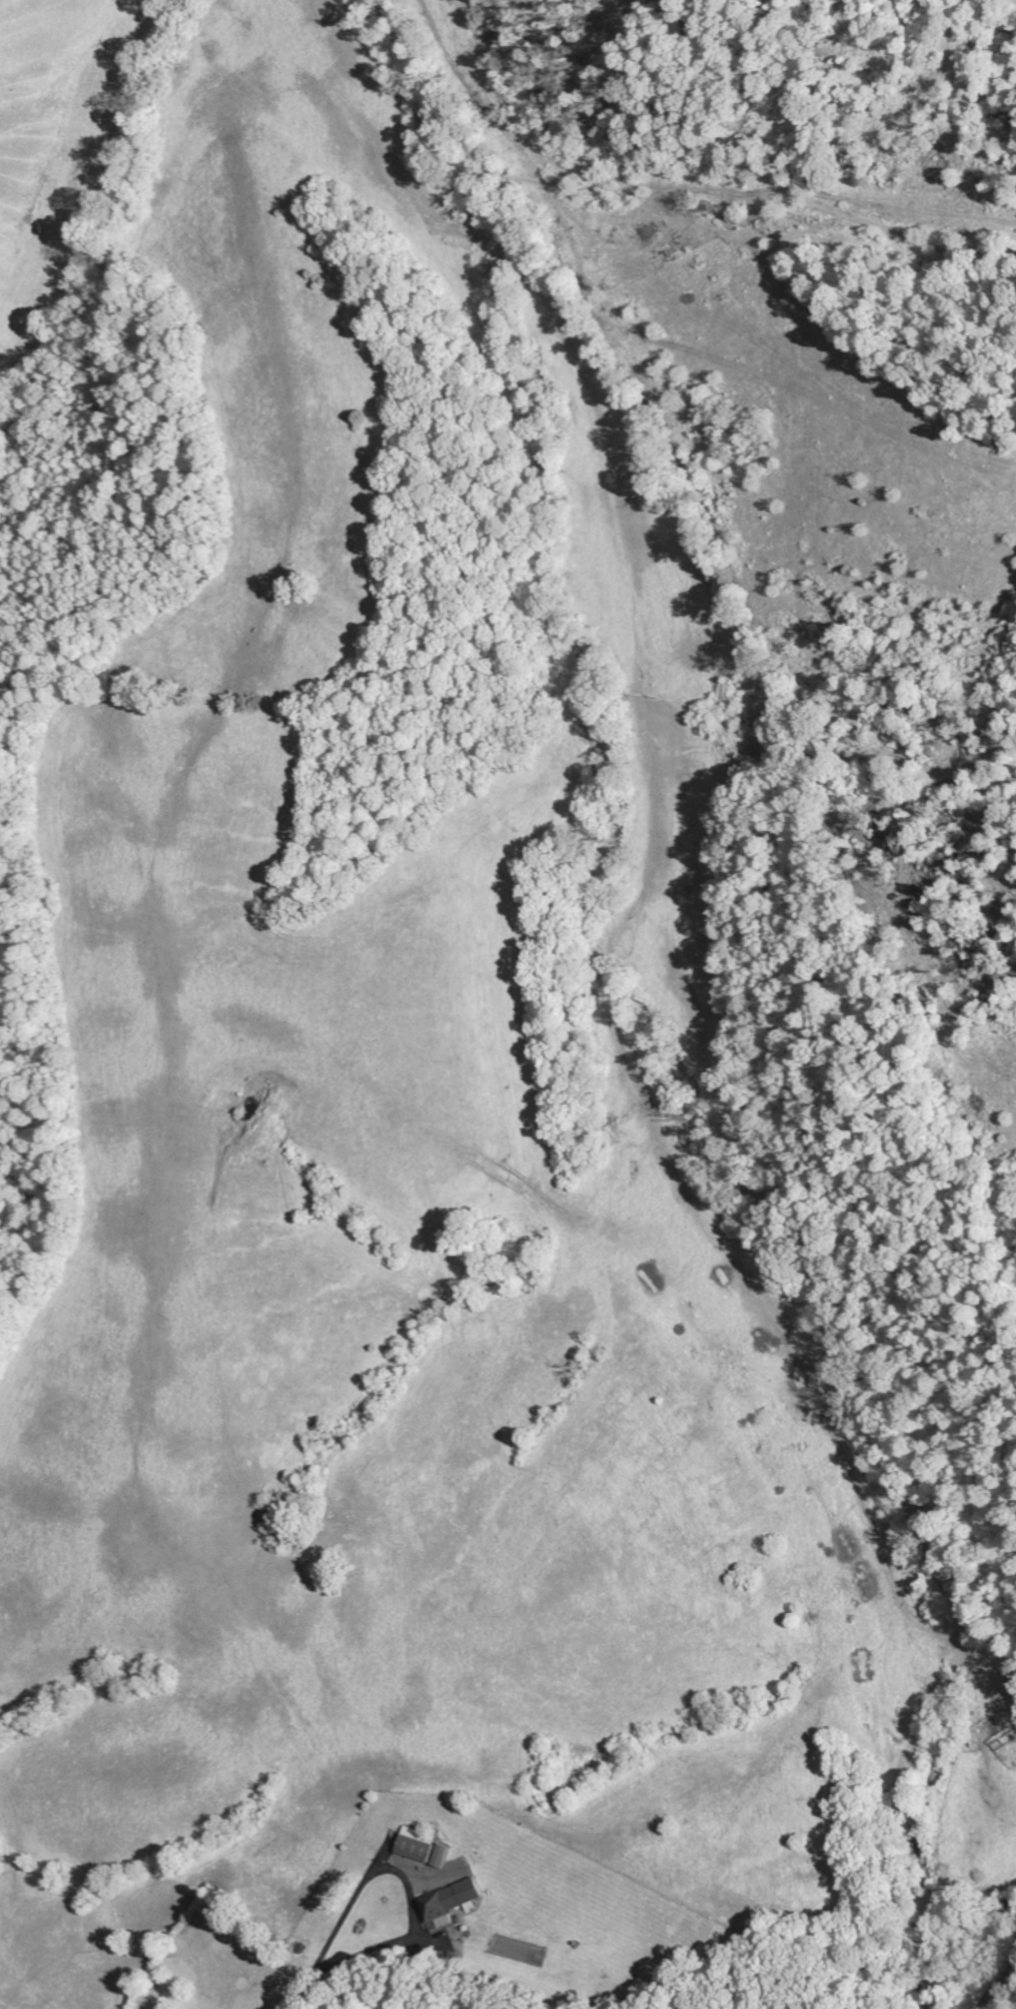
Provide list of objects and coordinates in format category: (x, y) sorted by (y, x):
building: (441, 1856)
building: (448, 1903)
road: (999, 1984)

